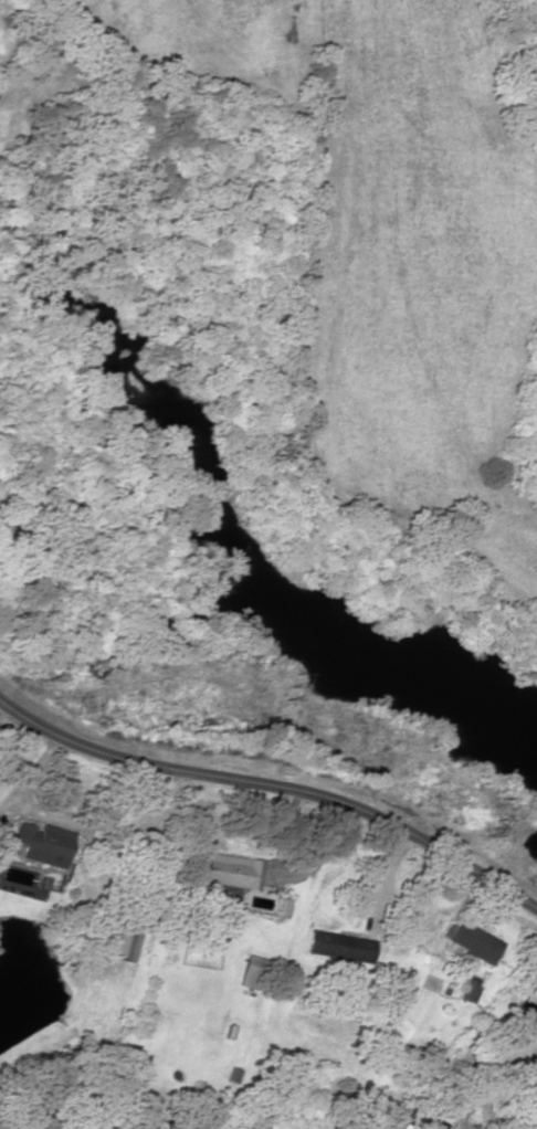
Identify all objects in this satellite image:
road: (271, 793)
building: (1, 838)
building: (38, 844)
building: (229, 872)
building: (208, 937)
building: (470, 941)
building: (336, 946)
building: (250, 972)
building: (467, 986)
building: (524, 1013)
building: (431, 1127)

